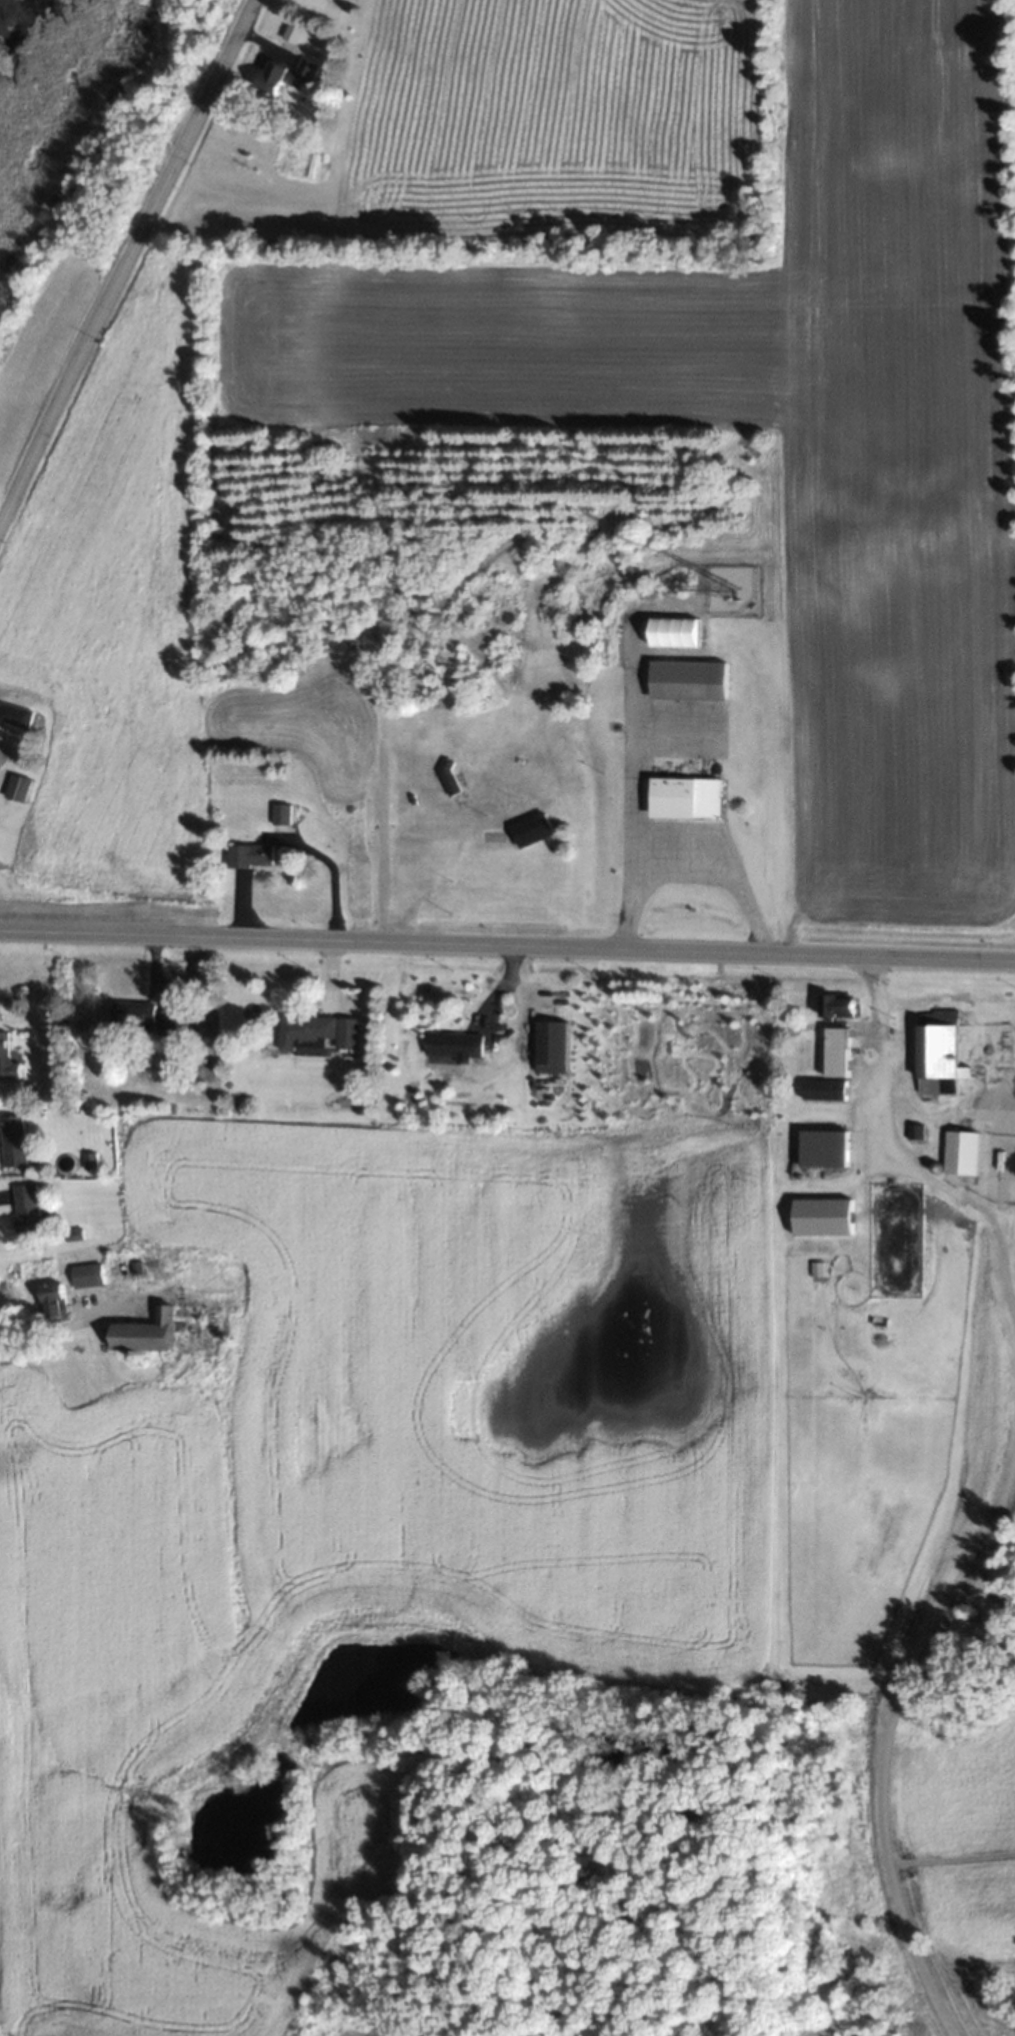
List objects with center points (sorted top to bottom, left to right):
building: (283, 77)
road: (125, 259)
building: (674, 632)
building: (685, 680)
building: (14, 715)
building: (444, 778)
building: (15, 788)
building: (682, 798)
building: (277, 814)
building: (528, 831)
building: (247, 855)
road: (685, 869)
road: (237, 910)
road: (329, 912)
road: (507, 945)
road: (152, 958)
road: (507, 963)
building: (833, 1004)
building: (129, 1014)
building: (315, 1032)
building: (934, 1043)
building: (451, 1044)
building: (546, 1045)
building: (834, 1051)
building: (6, 1060)
building: (820, 1090)
building: (12, 1140)
building: (820, 1147)
building: (960, 1152)
road: (893, 1157)
building: (24, 1207)
building: (821, 1216)
building: (112, 1270)
building: (196, 1281)
building: (47, 1299)
road: (39, 1328)
building: (140, 1331)
road: (881, 1738)
building: (801, 2016)

